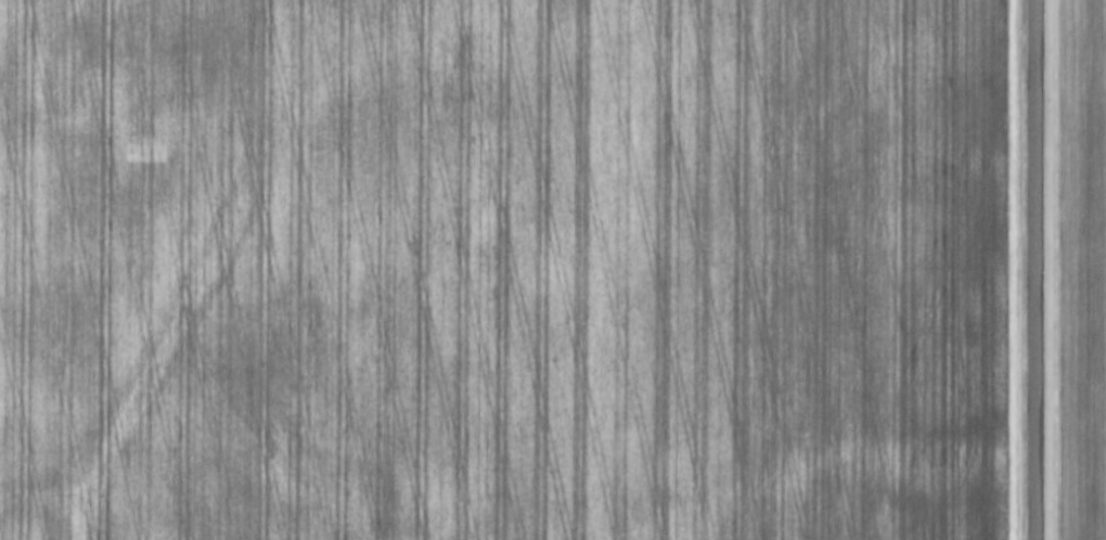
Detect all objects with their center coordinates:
road: (1036, 270)

